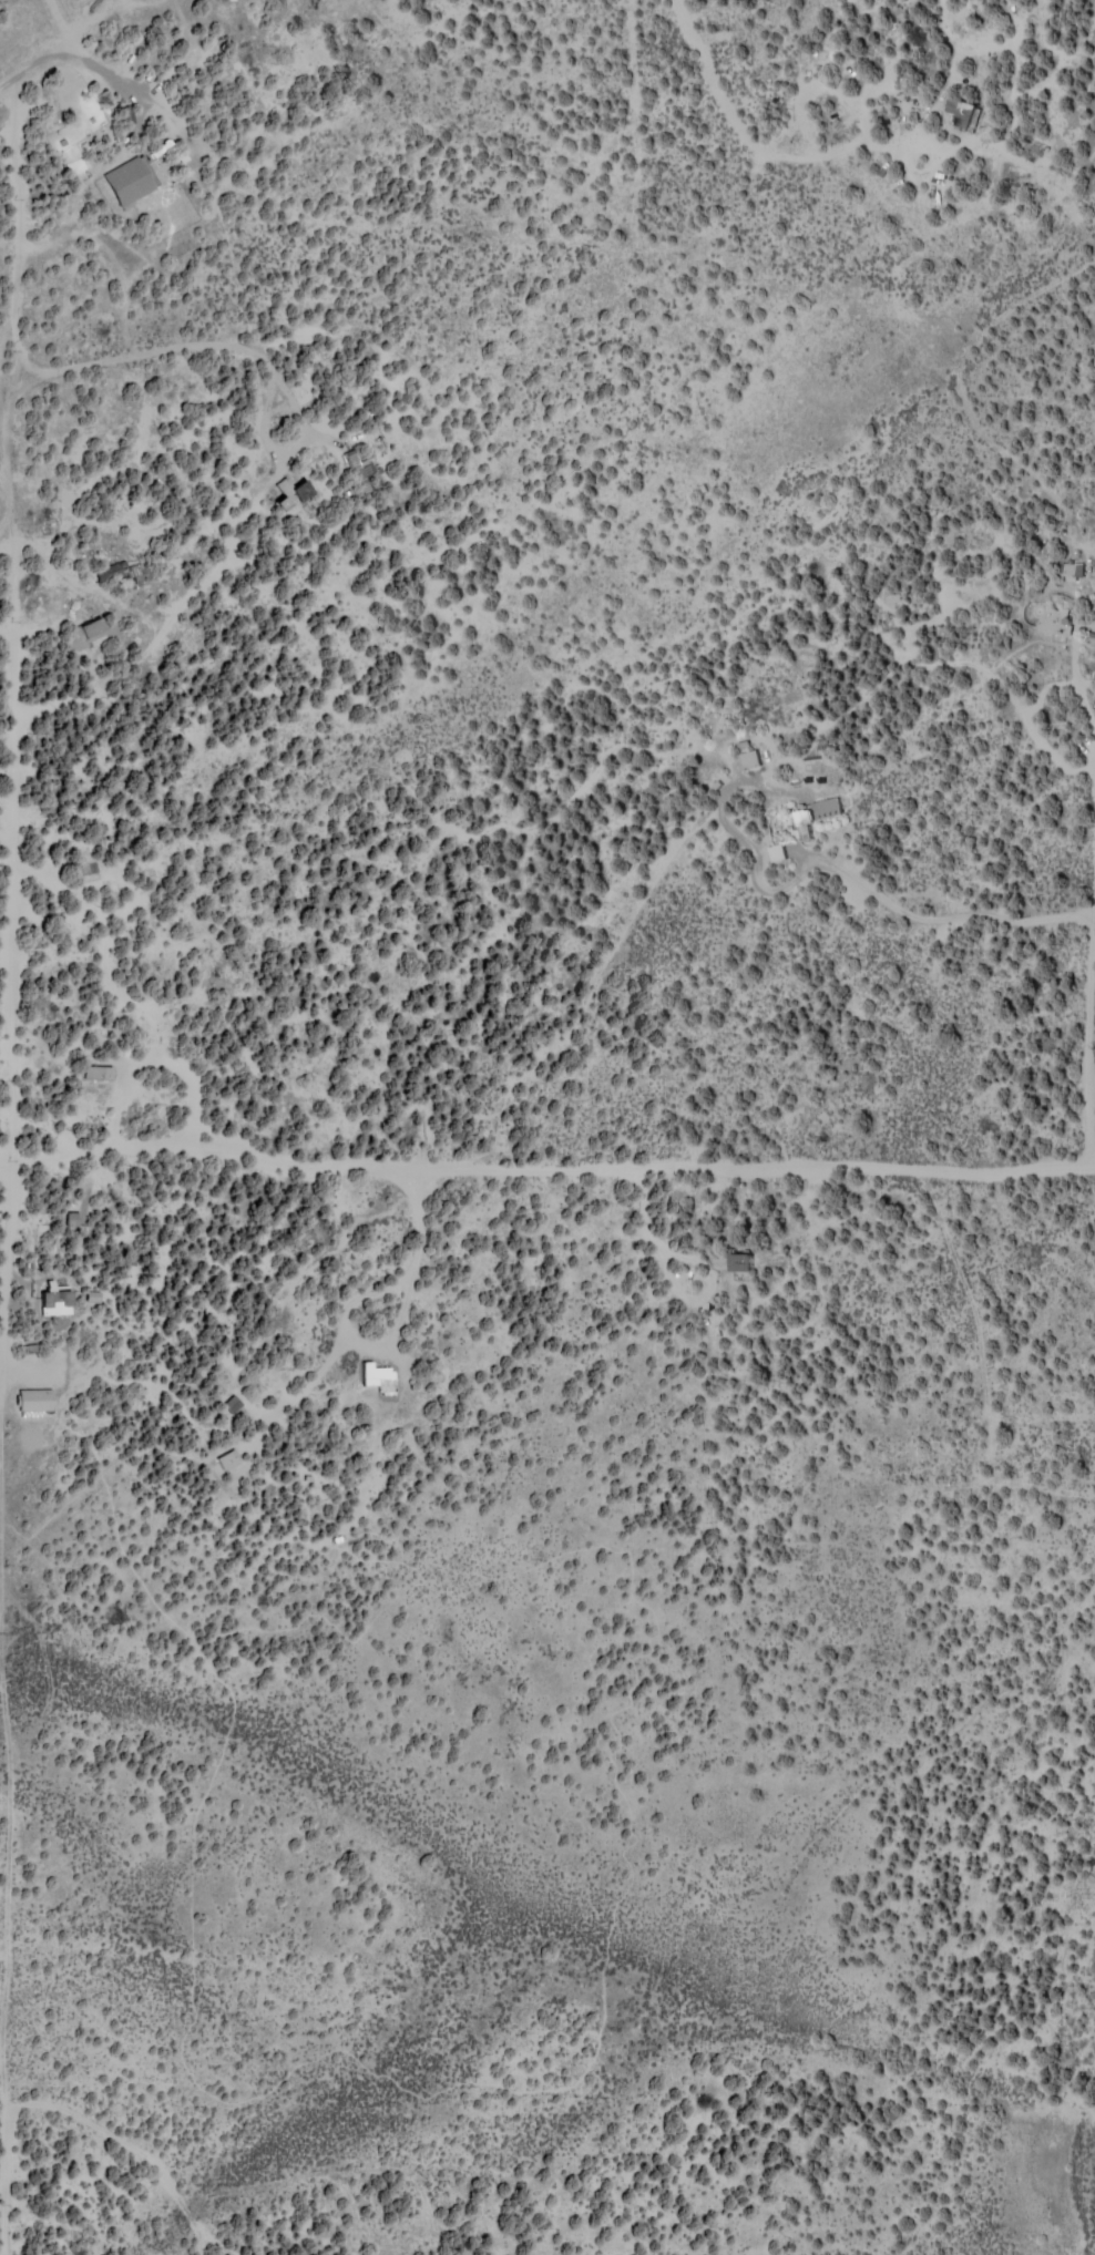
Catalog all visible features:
building: (965, 109)
building: (130, 180)
building: (360, 467)
road: (122, 479)
building: (295, 491)
building: (1074, 568)
building: (126, 571)
building: (1060, 618)
building: (99, 628)
road: (14, 694)
building: (753, 757)
building: (779, 850)
road: (624, 1043)
building: (99, 1072)
road: (546, 1198)
building: (73, 1217)
building: (747, 1260)
building: (94, 1295)
building: (57, 1300)
building: (380, 1377)
building: (37, 1398)
building: (233, 1403)
building: (229, 1458)

